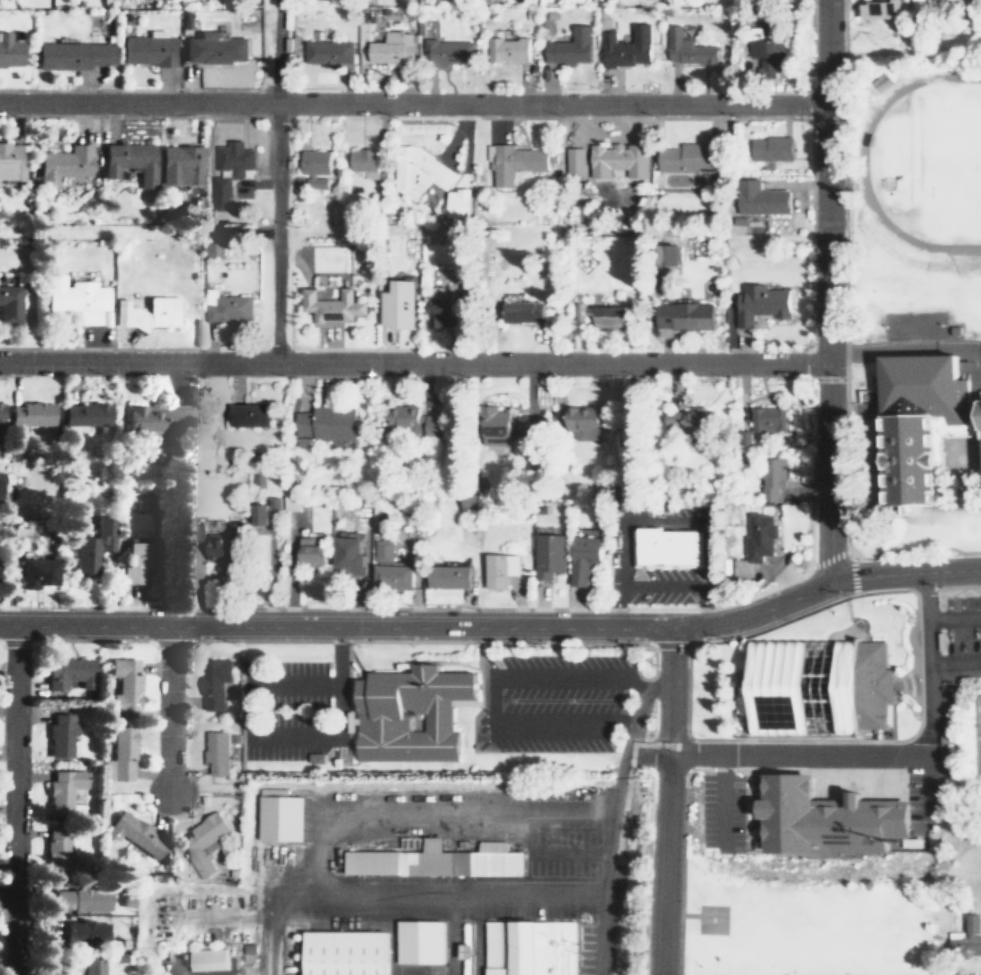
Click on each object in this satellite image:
building: (881, 8)
building: (213, 47)
building: (567, 47)
building: (624, 47)
building: (390, 48)
building: (685, 48)
building: (504, 49)
building: (146, 50)
building: (8, 52)
building: (326, 52)
building: (446, 52)
building: (72, 55)
building: (765, 55)
road: (412, 104)
building: (771, 148)
building: (689, 156)
building: (232, 158)
building: (572, 159)
building: (616, 159)
park: (963, 159)
building: (360, 160)
building: (129, 161)
building: (10, 162)
building: (312, 162)
track: (928, 162)
building: (63, 164)
building: (512, 164)
building: (180, 165)
building: (419, 170)
road: (280, 182)
building: (220, 186)
building: (758, 198)
building: (458, 202)
building: (667, 254)
road: (827, 289)
building: (75, 298)
building: (759, 303)
building: (9, 304)
building: (399, 304)
building: (333, 305)
building: (225, 308)
building: (145, 313)
building: (437, 313)
building: (519, 313)
building: (601, 316)
building: (680, 316)
road: (904, 342)
road: (414, 365)
building: (1, 412)
building: (29, 414)
building: (83, 414)
building: (244, 417)
building: (159, 418)
building: (763, 419)
building: (412, 421)
building: (693, 421)
building: (321, 423)
building: (582, 423)
building: (529, 425)
building: (919, 425)
building: (489, 426)
building: (0, 476)
building: (770, 479)
building: (287, 503)
building: (261, 513)
road: (615, 531)
building: (195, 532)
building: (753, 542)
building: (89, 546)
building: (218, 546)
building: (662, 546)
building: (306, 551)
road: (803, 553)
building: (348, 555)
building: (545, 555)
building: (580, 558)
building: (136, 560)
building: (386, 568)
building: (496, 570)
building: (34, 572)
building: (446, 575)
road: (655, 586)
road: (954, 617)
road: (495, 626)
parking lot: (960, 641)
road: (928, 651)
road: (954, 662)
building: (66, 673)
building: (211, 681)
building: (815, 682)
road: (647, 683)
building: (121, 684)
road: (492, 694)
parking lot: (549, 701)
road: (171, 706)
parking lot: (280, 708)
building: (405, 713)
road: (625, 719)
road: (634, 729)
building: (59, 734)
road: (273, 734)
park: (976, 734)
building: (121, 751)
road: (647, 753)
road: (805, 755)
building: (214, 756)
building: (107, 769)
parking lot: (941, 778)
building: (61, 790)
road: (723, 793)
road: (15, 799)
road: (665, 801)
parking lot: (724, 807)
building: (822, 814)
building: (280, 815)
road: (436, 816)
building: (132, 832)
building: (201, 844)
building: (56, 850)
road: (570, 856)
building: (436, 860)
road: (614, 875)
road: (402, 893)
building: (82, 899)
road: (679, 914)
road: (681, 916)
helipad: (711, 919)
park: (805, 920)
building: (83, 933)
building: (963, 938)
building: (419, 943)
building: (528, 947)
building: (462, 948)
building: (342, 953)
building: (209, 959)
building: (85, 966)

